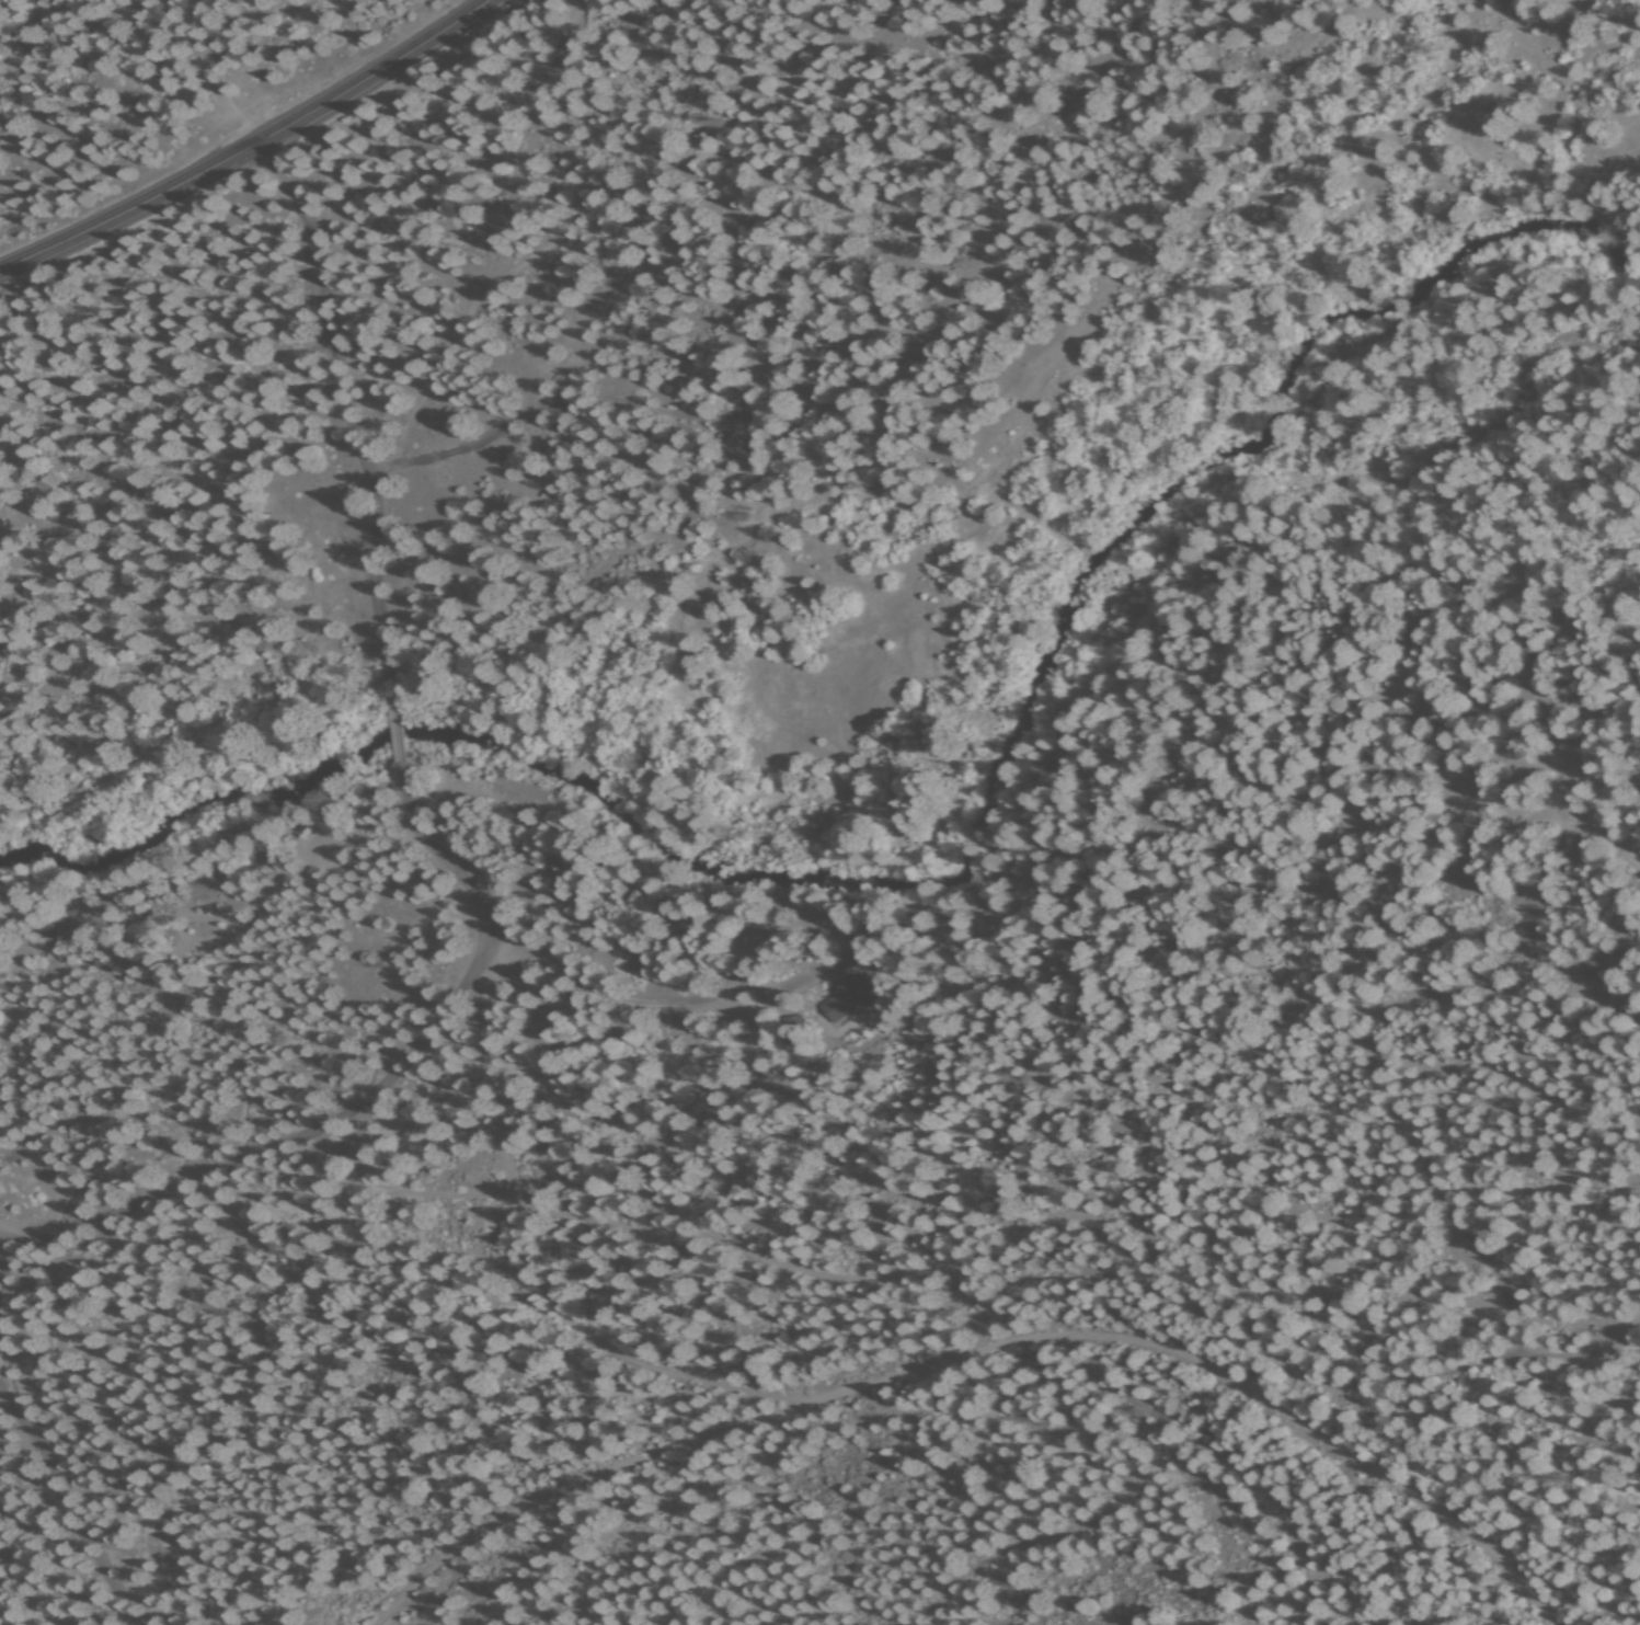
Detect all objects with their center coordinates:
road: (538, 127)
road: (254, 145)
road: (348, 419)
road: (398, 736)
road: (455, 872)
road: (495, 1094)
road: (256, 1156)
road: (977, 1294)
road: (974, 1350)
road: (44, 1525)

